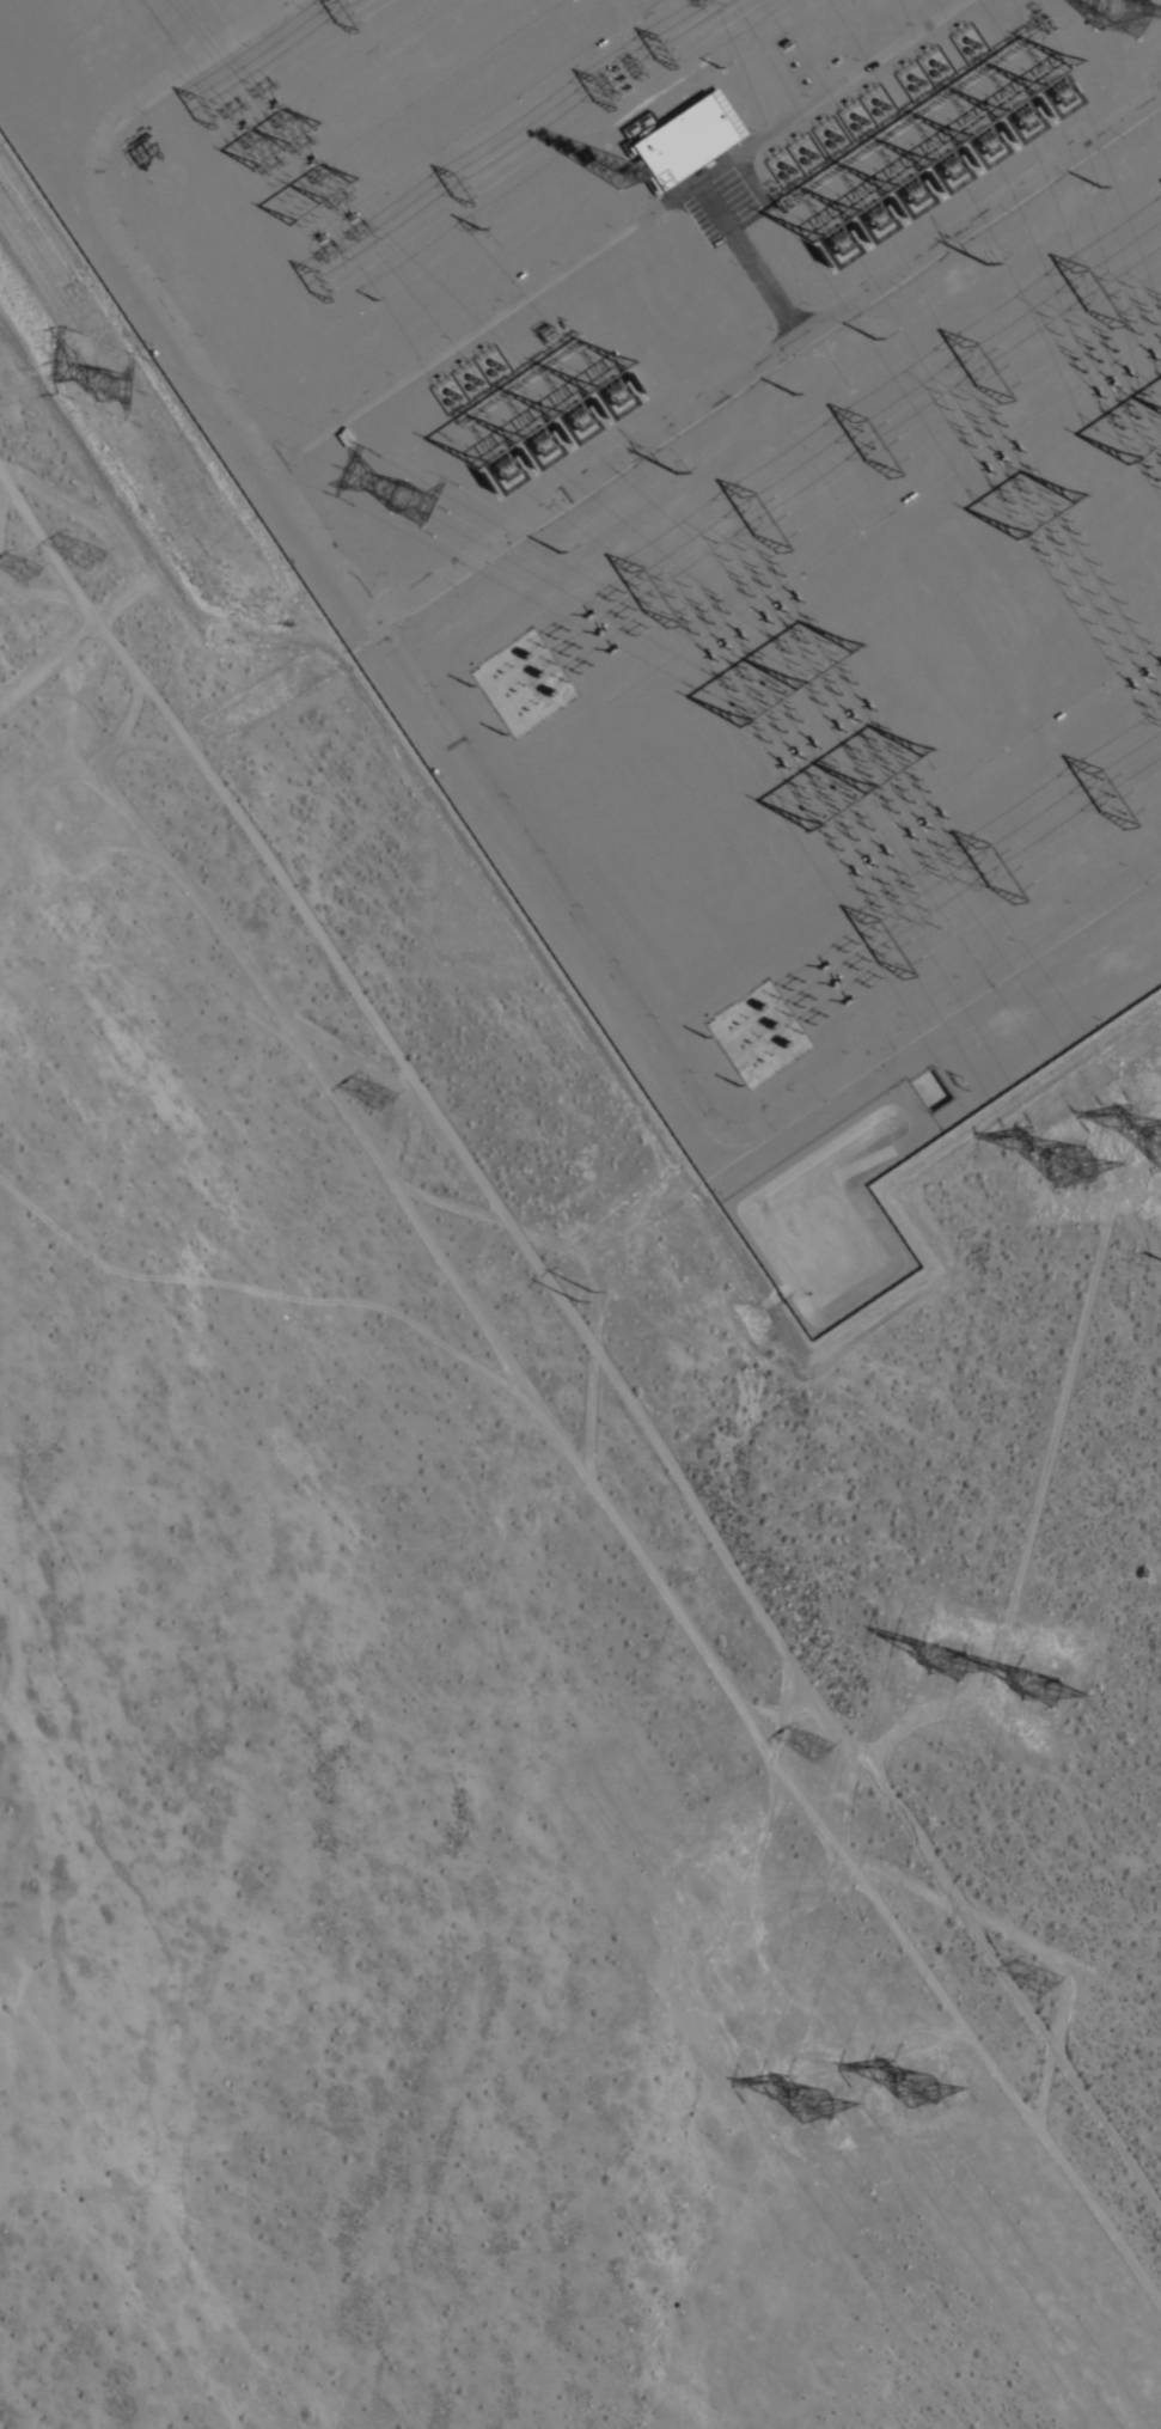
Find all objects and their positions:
power tower: (1157, 7)
power tower: (118, 390)
power substation: (702, 498)
power tower: (418, 511)
power tower: (91, 555)
power tower: (29, 578)
road: (74, 654)
power tower: (378, 1101)
power tower: (1067, 1176)
power tower: (570, 1282)
power tower: (955, 1672)
power tower: (1056, 1696)
power tower: (812, 1748)
power tower: (1046, 1988)
power tower: (937, 2097)
power tower: (814, 2112)

